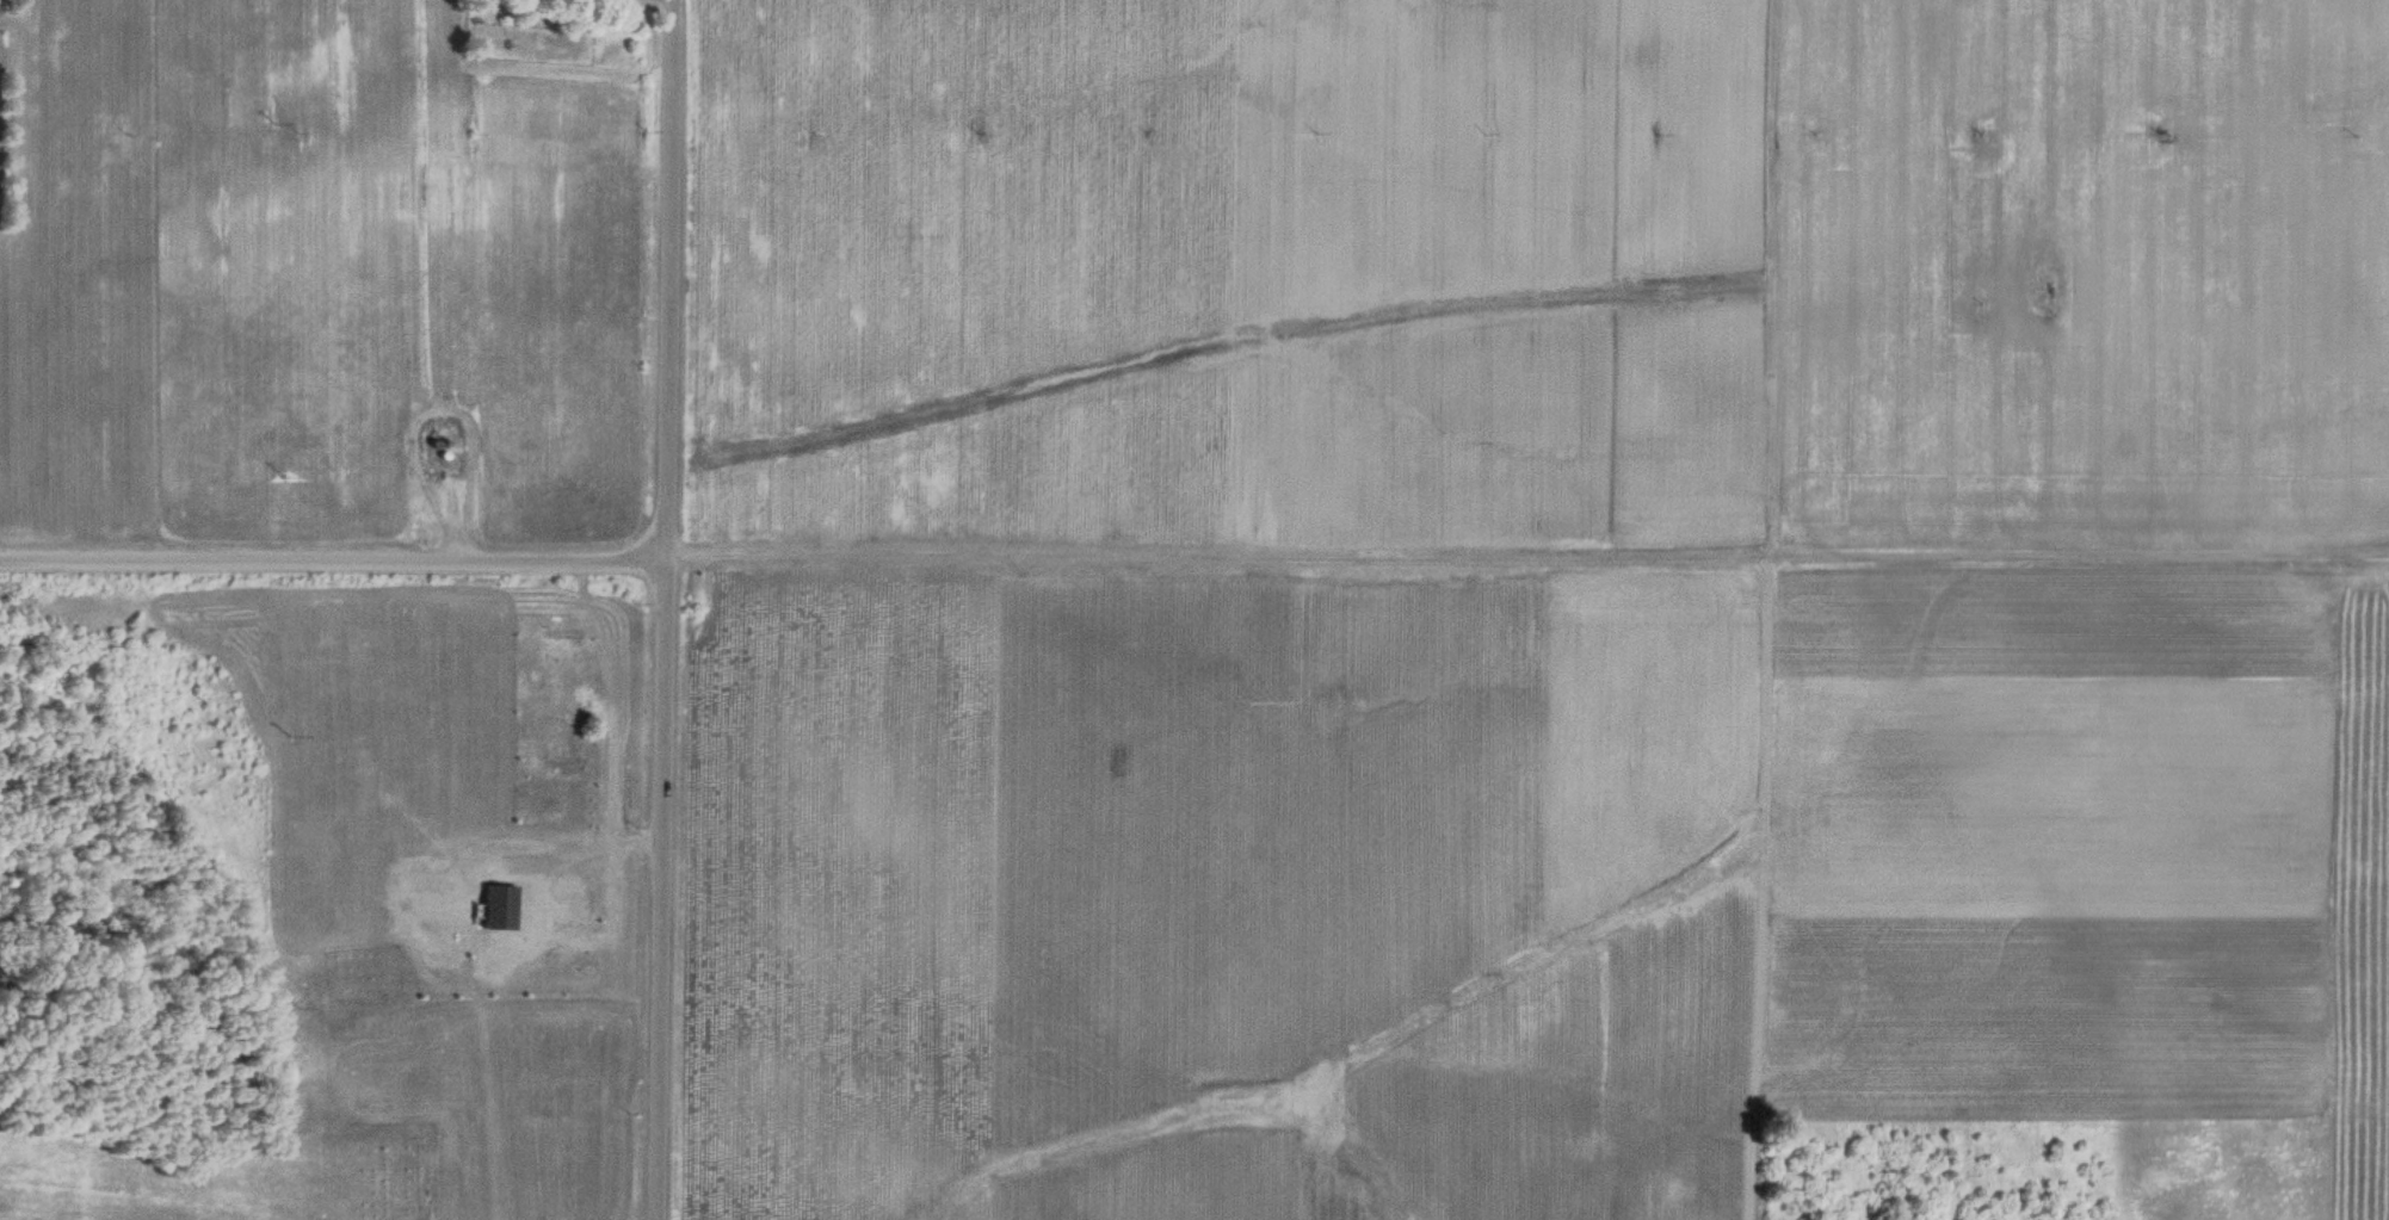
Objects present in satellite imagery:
road: (1943, 286)
road: (321, 540)
road: (1514, 564)
road: (642, 609)
building: (558, 763)
building: (558, 900)

